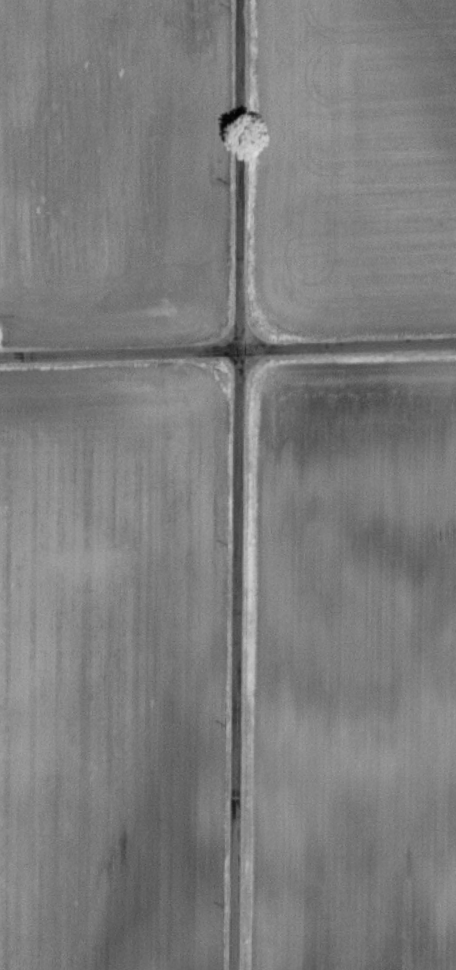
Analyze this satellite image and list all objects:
road: (228, 349)
road: (236, 485)

